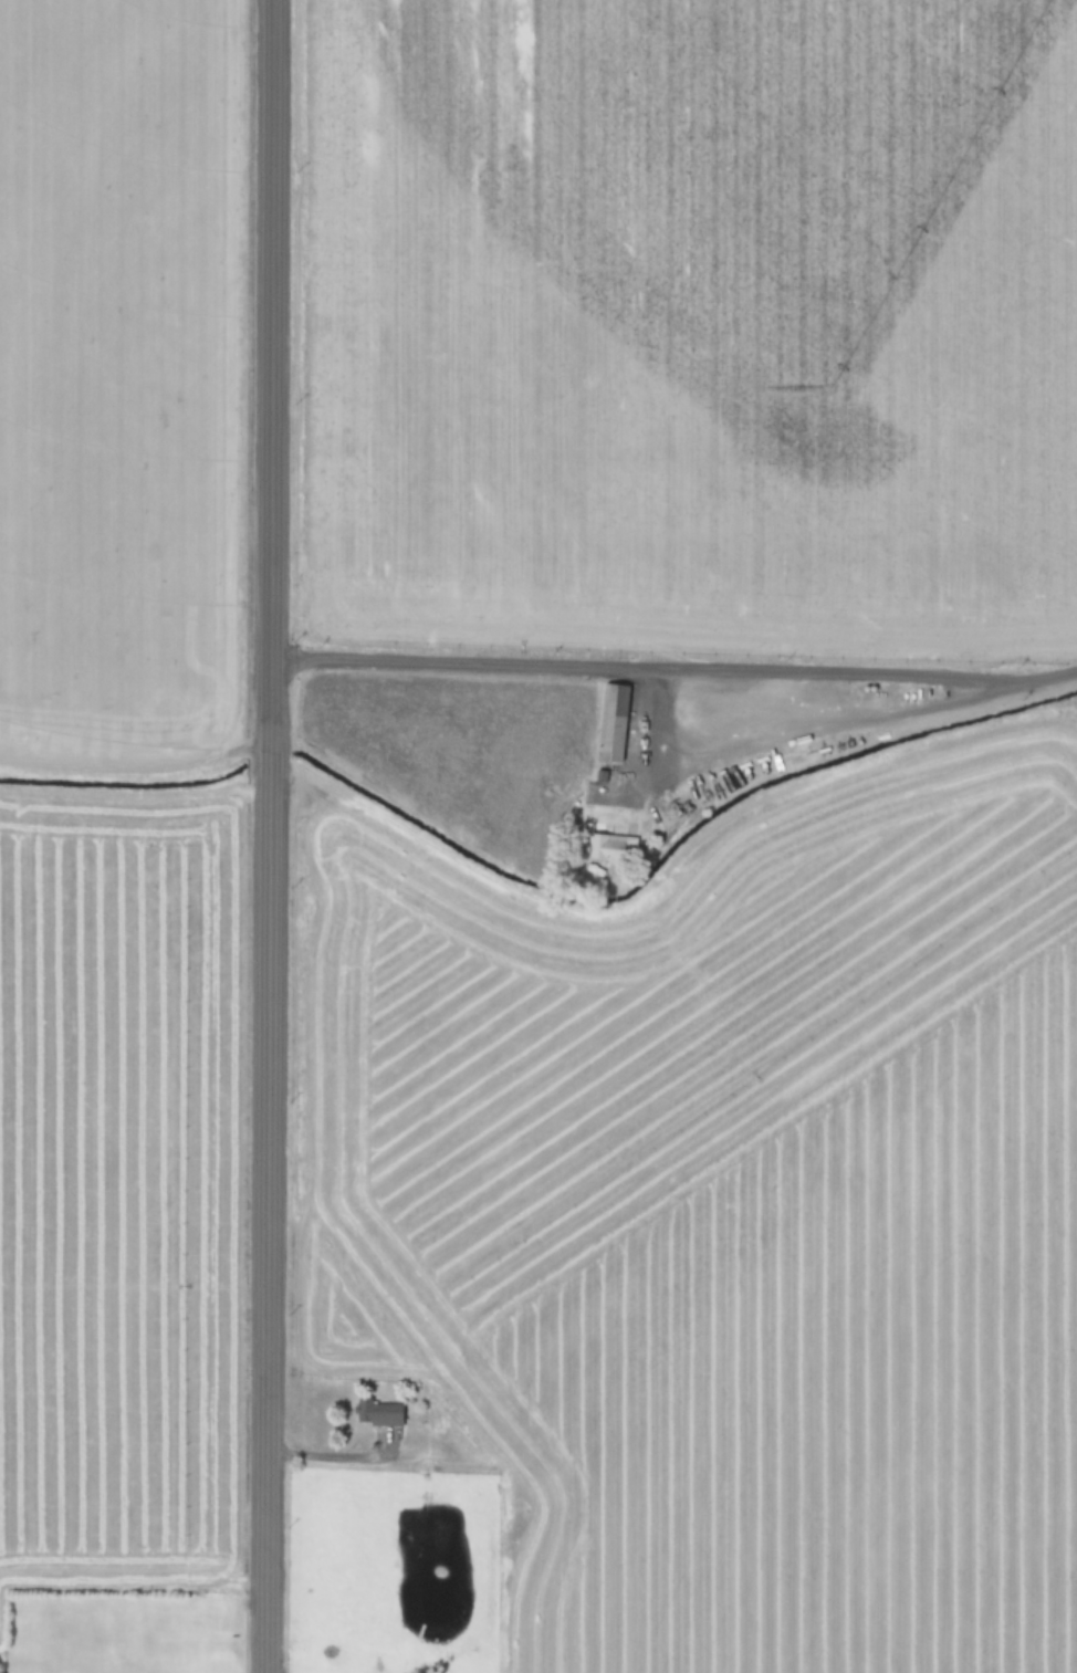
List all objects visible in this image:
road: (673, 669)
building: (608, 721)
crop: (123, 829)
road: (268, 836)
crop: (687, 838)
building: (607, 846)
building: (383, 1413)

